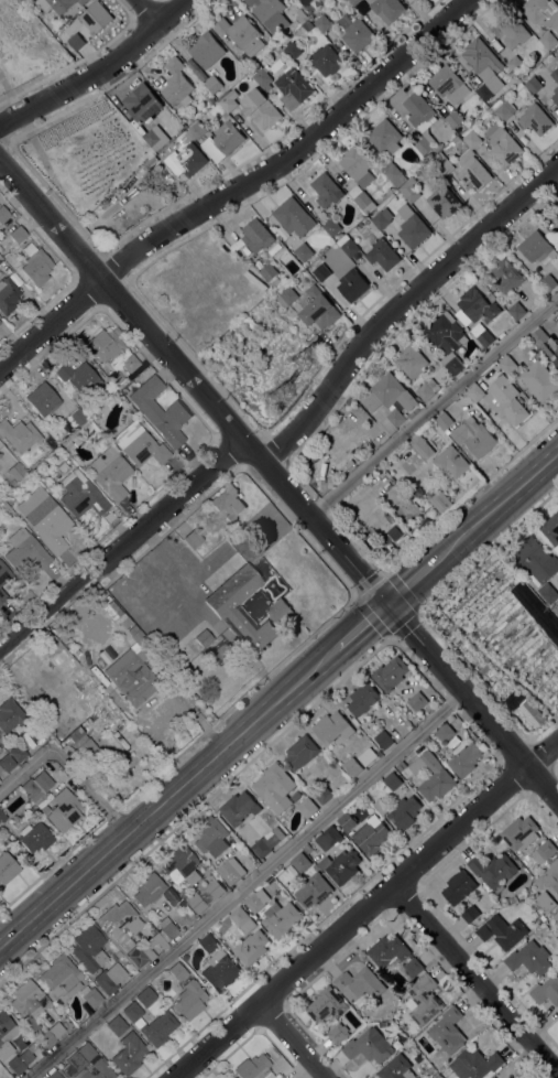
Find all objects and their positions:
building: (30, 0)
building: (417, 0)
building: (308, 1)
building: (324, 1)
building: (342, 2)
building: (353, 2)
building: (58, 4)
building: (386, 9)
road: (147, 12)
building: (541, 12)
building: (270, 14)
building: (96, 18)
building: (303, 20)
building: (322, 24)
building: (354, 32)
building: (512, 32)
building: (241, 34)
building: (548, 41)
building: (76, 42)
building: (206, 51)
building: (292, 51)
building: (556, 57)
building: (326, 61)
building: (515, 65)
building: (483, 67)
road: (99, 71)
building: (555, 75)
building: (262, 78)
road: (41, 80)
building: (176, 84)
building: (212, 84)
building: (447, 84)
building: (533, 86)
building: (293, 88)
road: (9, 96)
building: (555, 96)
building: (228, 100)
building: (142, 104)
building: (261, 109)
building: (502, 112)
building: (535, 119)
building: (420, 120)
building: (455, 120)
building: (196, 131)
road: (20, 133)
building: (385, 137)
building: (470, 138)
building: (152, 139)
building: (222, 142)
building: (502, 144)
road: (42, 157)
building: (428, 157)
building: (186, 162)
building: (357, 165)
building: (441, 165)
building: (472, 171)
building: (394, 174)
road: (238, 188)
building: (326, 191)
building: (385, 193)
building: (411, 193)
building: (359, 197)
building: (442, 202)
building: (3, 214)
building: (556, 215)
building: (294, 217)
building: (382, 219)
road: (143, 222)
road: (79, 227)
building: (412, 227)
building: (331, 228)
building: (557, 229)
building: (18, 234)
building: (256, 236)
building: (348, 246)
building: (536, 247)
building: (1, 249)
road: (166, 250)
building: (304, 252)
building: (382, 255)
building: (1, 259)
building: (35, 265)
building: (269, 272)
building: (321, 272)
building: (506, 276)
building: (274, 282)
building: (547, 283)
building: (352, 285)
building: (543, 293)
building: (8, 294)
building: (286, 297)
road: (400, 303)
building: (474, 308)
building: (317, 309)
building: (516, 311)
building: (482, 335)
building: (447, 338)
building: (540, 341)
building: (106, 344)
building: (556, 352)
road: (193, 358)
power tower: (310, 358)
building: (411, 362)
building: (555, 362)
building: (129, 364)
building: (507, 365)
building: (79, 378)
building: (539, 381)
road: (192, 384)
building: (427, 390)
power tower: (281, 392)
building: (43, 398)
building: (391, 398)
building: (501, 400)
road: (433, 405)
building: (157, 409)
building: (415, 411)
building: (77, 417)
building: (444, 421)
building: (20, 434)
building: (472, 436)
building: (67, 443)
building: (144, 448)
building: (420, 448)
building: (0, 453)
building: (451, 462)
building: (15, 471)
building: (110, 473)
building: (81, 494)
road: (470, 494)
building: (228, 502)
building: (439, 502)
road: (496, 505)
road: (331, 517)
building: (50, 522)
building: (551, 529)
building: (393, 533)
building: (193, 538)
road: (121, 548)
building: (25, 550)
road: (488, 550)
building: (536, 561)
building: (4, 573)
road: (383, 573)
road: (411, 582)
building: (547, 593)
building: (2, 595)
traffic signals: (385, 604)
building: (226, 607)
road: (358, 626)
building: (203, 637)
building: (143, 644)
road: (488, 658)
building: (64, 660)
building: (390, 675)
building: (131, 679)
building: (29, 699)
building: (362, 700)
building: (417, 702)
road: (471, 702)
building: (532, 713)
building: (11, 715)
building: (91, 715)
building: (414, 720)
building: (332, 727)
road: (544, 729)
building: (445, 733)
building: (383, 740)
building: (18, 753)
building: (300, 753)
building: (366, 757)
building: (464, 758)
building: (7, 763)
road: (67, 764)
road: (556, 766)
building: (352, 767)
building: (398, 767)
building: (0, 768)
building: (433, 776)
building: (392, 781)
building: (36, 784)
building: (70, 784)
building: (275, 788)
building: (321, 795)
road: (165, 798)
building: (380, 807)
building: (66, 808)
building: (306, 808)
building: (239, 809)
building: (42, 810)
building: (404, 812)
building: (2, 819)
building: (346, 822)
building: (519, 833)
building: (371, 836)
building: (35, 837)
building: (211, 838)
building: (328, 838)
building: (266, 842)
building: (307, 849)
building: (544, 852)
building: (300, 863)
building: (182, 865)
building: (7, 866)
building: (340, 866)
building: (493, 870)
building: (228, 873)
road: (244, 885)
building: (459, 887)
building: (549, 887)
building: (149, 888)
building: (314, 891)
building: (205, 896)
building: (513, 899)
building: (256, 901)
building: (494, 906)
road: (365, 908)
building: (470, 914)
building: (556, 917)
building: (281, 919)
building: (242, 920)
building: (538, 921)
building: (167, 929)
building: (502, 931)
building: (116, 934)
building: (89, 947)
building: (251, 948)
building: (387, 951)
building: (529, 959)
building: (218, 966)
building: (413, 968)
building: (177, 971)
building: (62, 978)
building: (109, 978)
road: (474, 980)
building: (360, 987)
building: (546, 991)
building: (145, 996)
building: (92, 998)
building: (190, 999)
building: (26, 1001)
building: (423, 1001)
building: (326, 1005)
building: (151, 1023)
building: (117, 1025)
building: (7, 1028)
building: (448, 1031)
building: (50, 1034)
building: (338, 1034)
road: (288, 1042)
building: (369, 1046)
building: (128, 1053)
building: (81, 1056)
building: (21, 1059)
building: (475, 1064)
building: (254, 1068)
building: (395, 1068)
building: (98, 1070)
building: (55, 1074)

